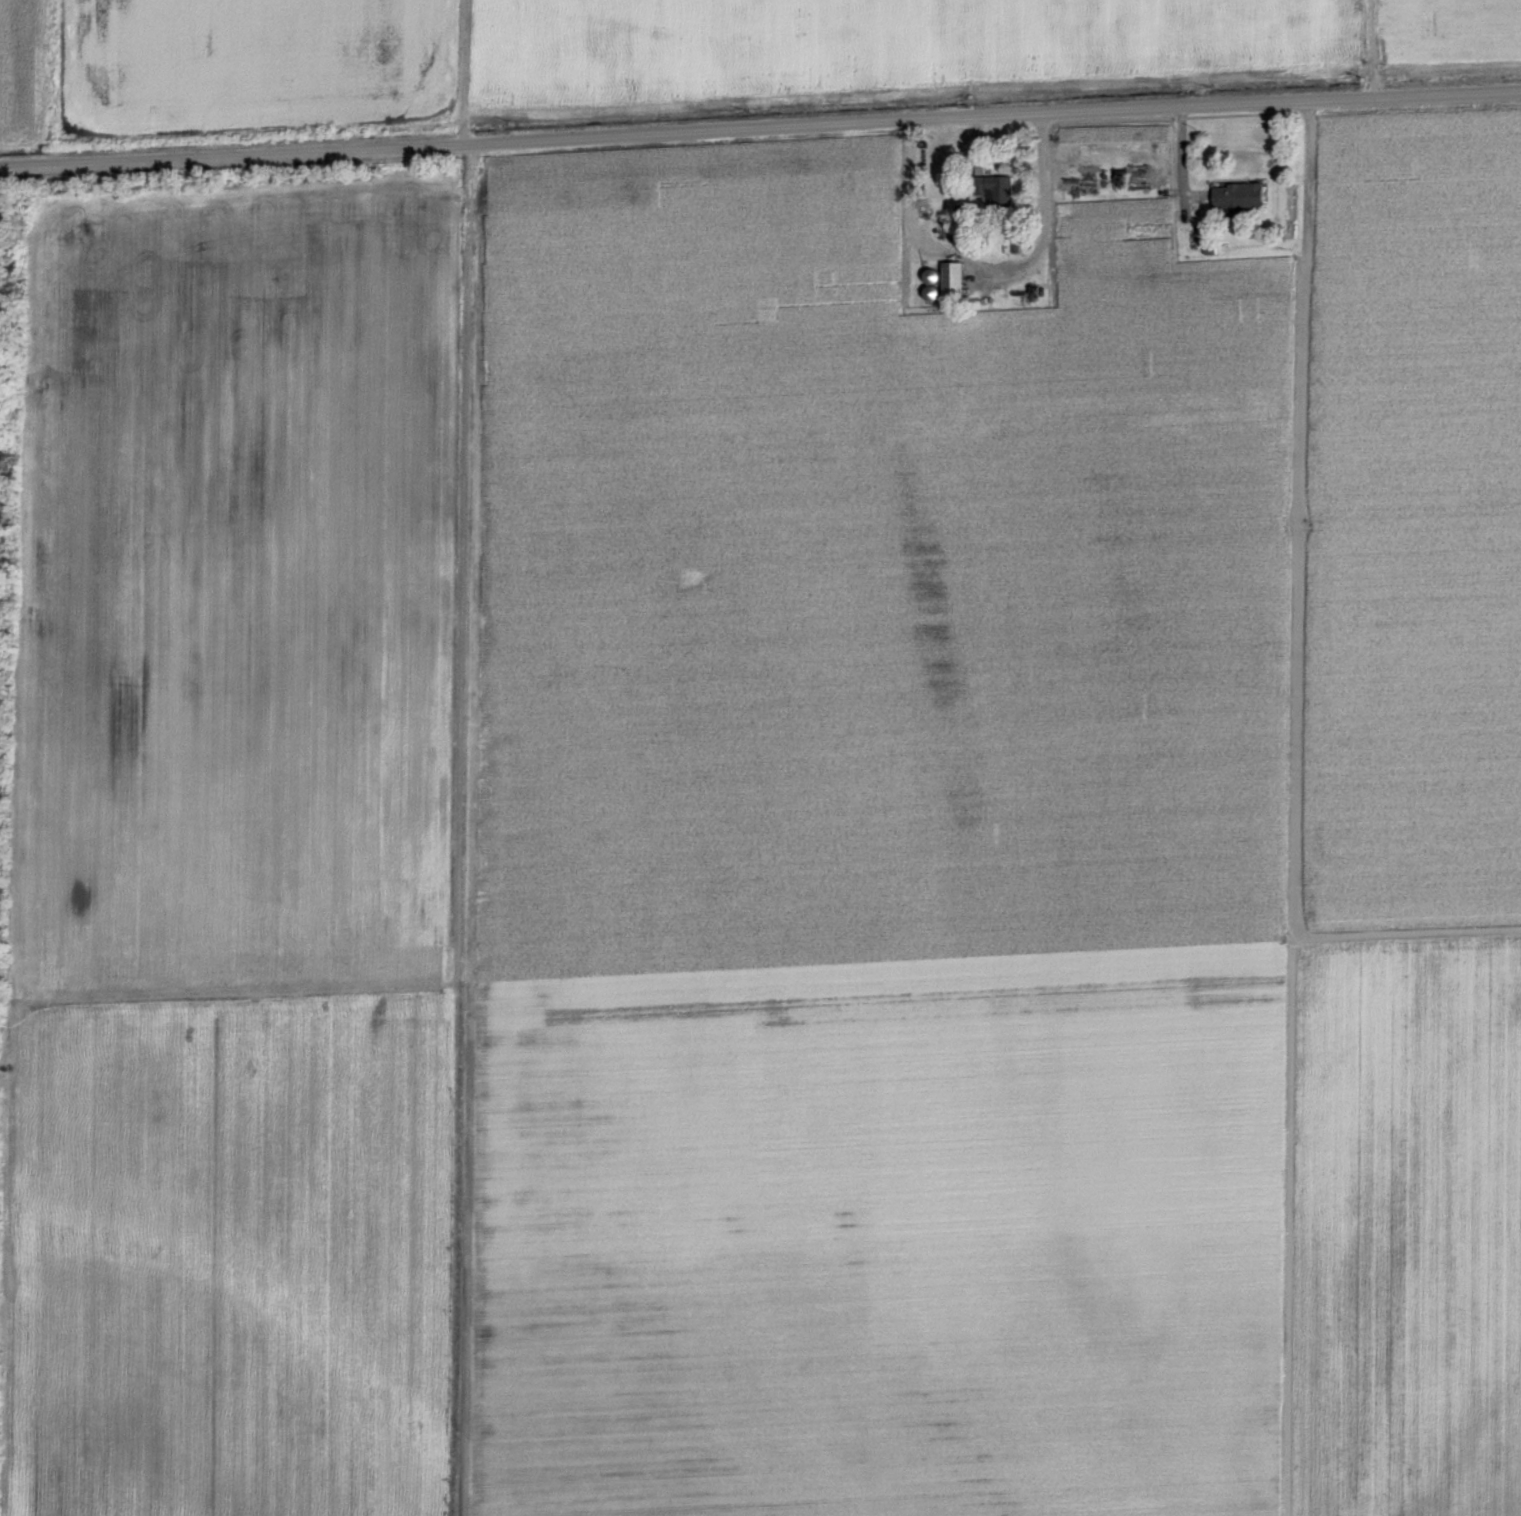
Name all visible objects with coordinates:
road: (760, 127)
road: (1187, 160)
building: (998, 188)
building: (1241, 197)

